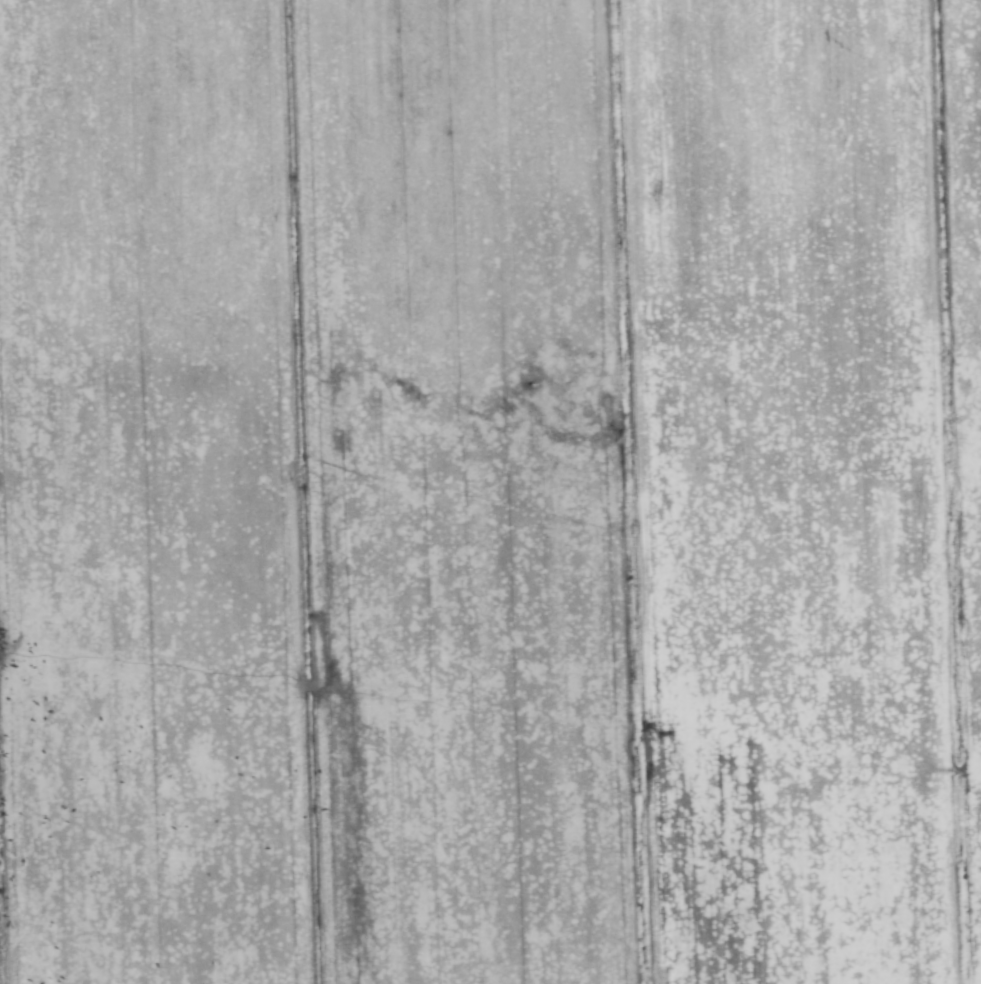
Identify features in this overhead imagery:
crop: (490, 492)

